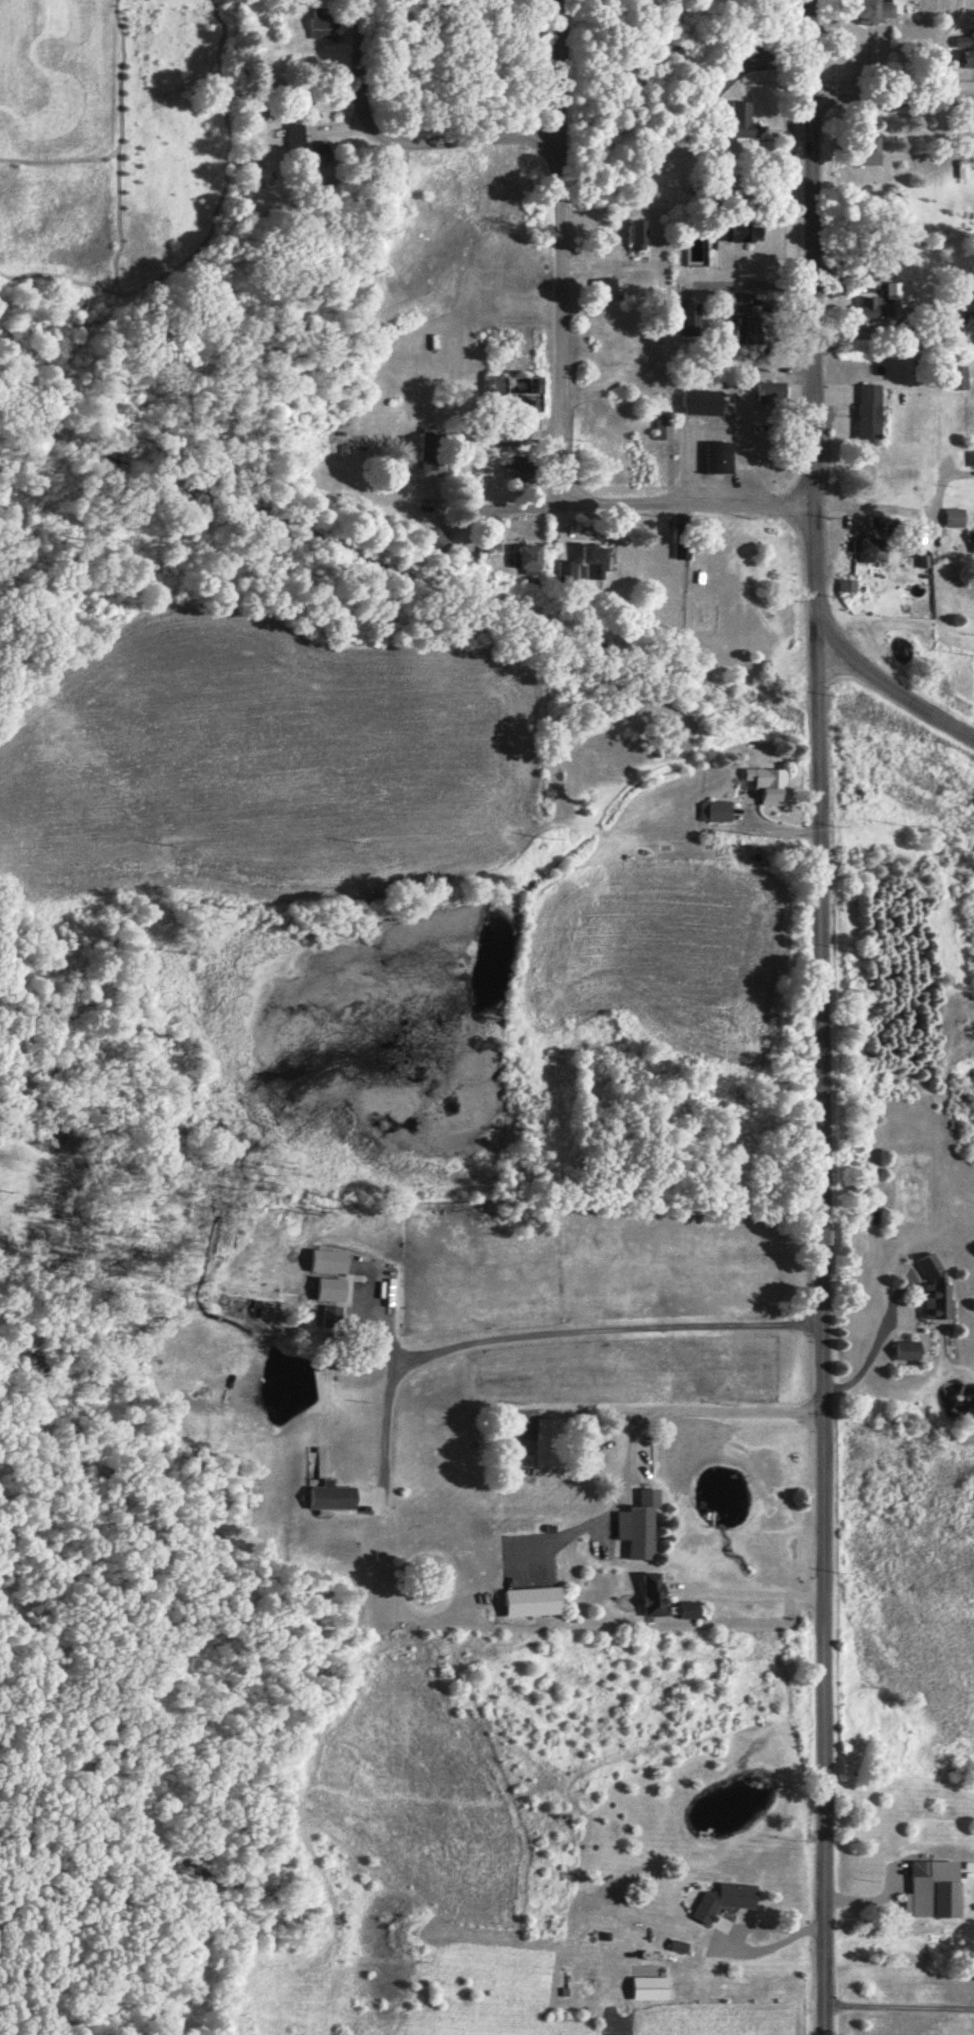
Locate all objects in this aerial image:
building: (871, 11)
building: (316, 29)
building: (963, 51)
road: (561, 69)
road: (893, 88)
building: (734, 123)
building: (299, 134)
road: (396, 143)
building: (861, 152)
building: (738, 234)
building: (633, 236)
road: (814, 254)
building: (599, 289)
building: (885, 300)
building: (731, 302)
building: (683, 318)
road: (561, 320)
building: (739, 331)
building: (952, 379)
building: (695, 403)
building: (514, 409)
building: (865, 412)
building: (660, 426)
building: (715, 459)
building: (971, 459)
building: (436, 466)
road: (624, 501)
road: (747, 505)
road: (532, 508)
road: (876, 508)
road: (473, 509)
building: (952, 518)
building: (971, 546)
building: (531, 557)
building: (846, 586)
road: (848, 651)
road: (834, 655)
building: (763, 785)
building: (712, 811)
building: (334, 1260)
building: (929, 1287)
building: (336, 1289)
building: (272, 1308)
road: (823, 1320)
building: (904, 1352)
building: (548, 1451)
building: (334, 1495)
building: (642, 1523)
building: (536, 1600)
building: (662, 1600)
building: (936, 1888)
building: (727, 1898)
building: (653, 1987)

